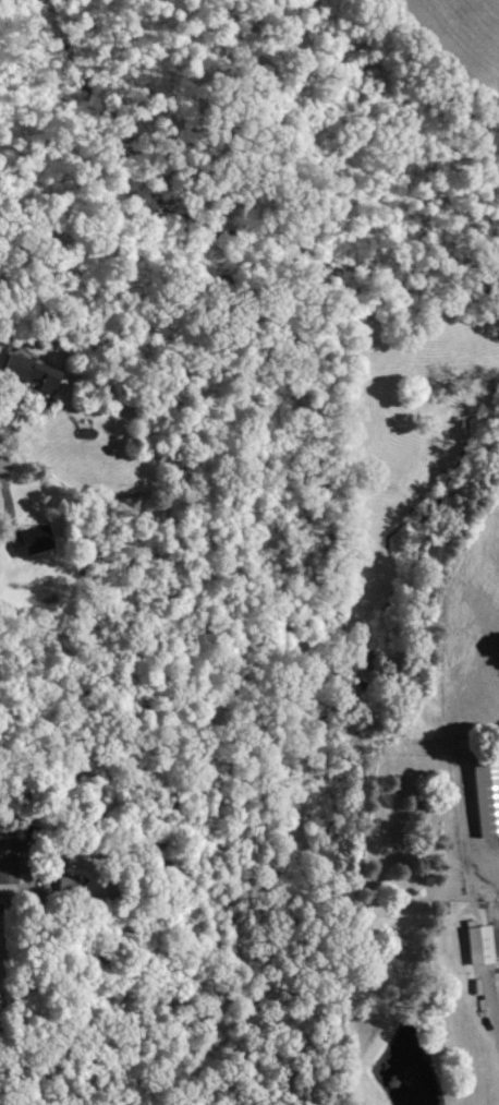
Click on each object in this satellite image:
building: (31, 372)
building: (28, 541)
building: (484, 796)
building: (8, 861)
building: (476, 945)
road: (490, 1026)

